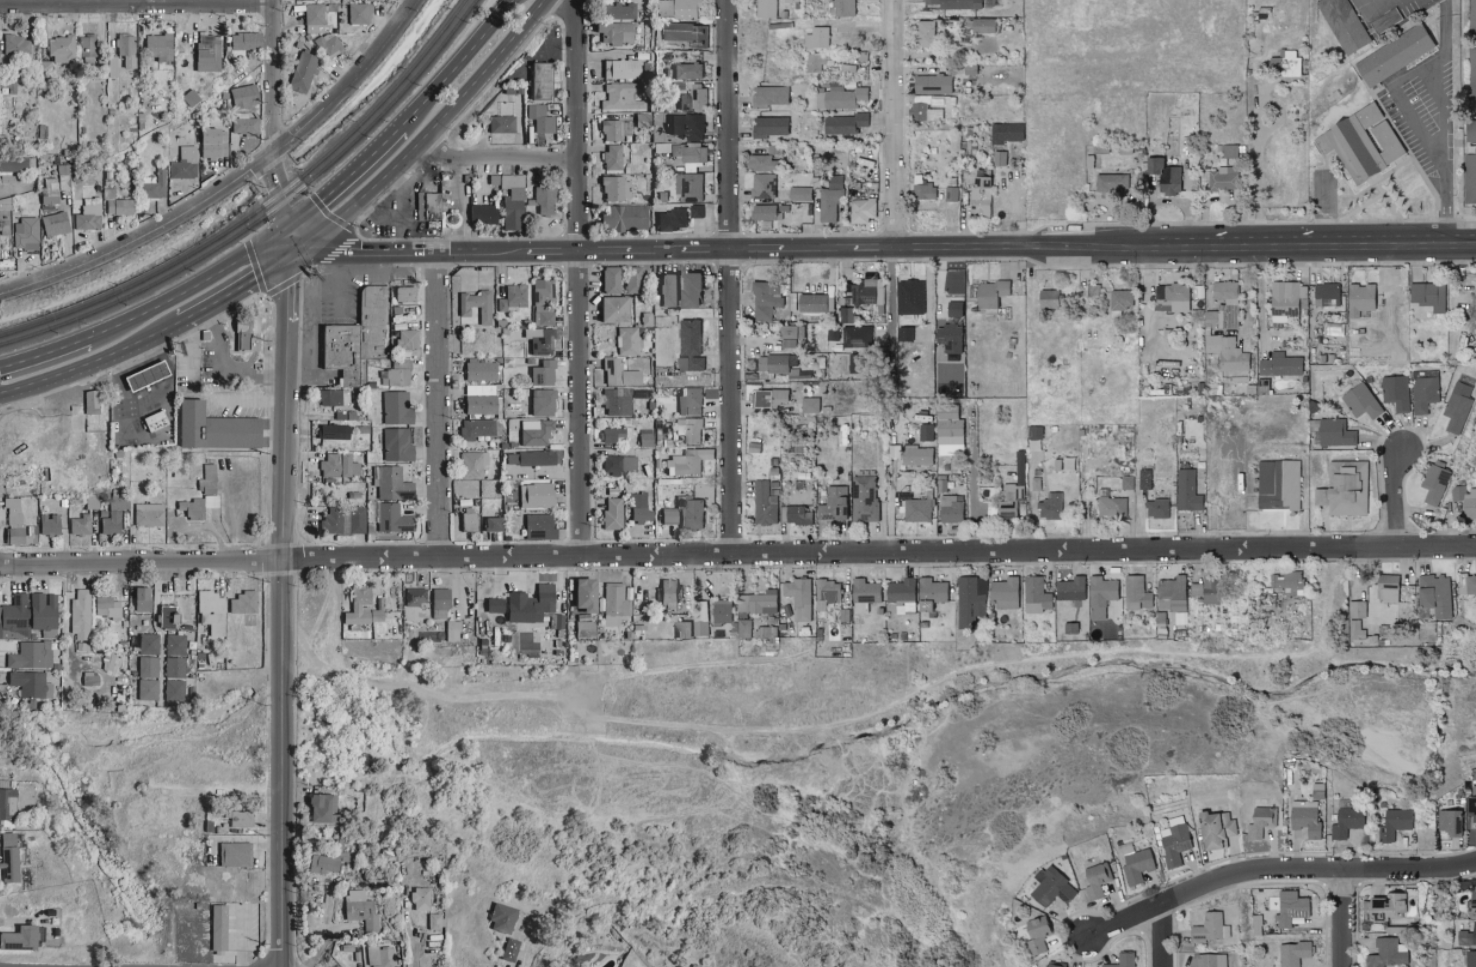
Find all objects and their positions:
building: (955, 4)
road: (137, 7)
building: (766, 8)
building: (842, 8)
building: (680, 9)
building: (612, 10)
building: (358, 13)
building: (314, 18)
building: (1474, 18)
building: (982, 25)
building: (612, 32)
building: (684, 32)
road: (1446, 32)
building: (924, 33)
building: (817, 37)
building: (241, 41)
building: (328, 44)
building: (14, 45)
building: (156, 46)
building: (59, 48)
building: (84, 48)
building: (204, 52)
building: (119, 54)
building: (1393, 55)
road: (544, 58)
building: (818, 62)
building: (1285, 64)
road: (458, 65)
building: (619, 68)
building: (686, 70)
building: (302, 72)
building: (1474, 74)
road: (273, 77)
road: (1438, 80)
road: (349, 81)
building: (931, 84)
building: (544, 85)
building: (770, 95)
building: (188, 97)
building: (619, 97)
building: (840, 97)
building: (692, 99)
building: (539, 118)
road: (893, 122)
building: (844, 123)
building: (243, 124)
building: (500, 124)
building: (691, 126)
building: (769, 126)
road: (429, 128)
building: (613, 129)
building: (1470, 131)
building: (1006, 132)
building: (210, 142)
building: (1360, 142)
building: (1229, 151)
building: (687, 155)
building: (610, 156)
road: (496, 160)
building: (759, 162)
building: (182, 163)
building: (1472, 167)
building: (1164, 175)
road: (348, 177)
building: (1223, 178)
building: (1109, 183)
building: (689, 186)
building: (763, 186)
building: (148, 187)
road: (278, 188)
building: (613, 188)
road: (10, 190)
building: (923, 191)
building: (800, 193)
building: (979, 196)
building: (511, 200)
building: (541, 200)
building: (829, 200)
road: (461, 204)
building: (424, 205)
building: (116, 206)
road: (408, 206)
railway: (260, 207)
road: (389, 209)
building: (435, 209)
building: (862, 210)
building: (695, 212)
building: (763, 212)
railway: (267, 213)
building: (481, 213)
building: (3, 215)
building: (87, 217)
building: (622, 217)
building: (669, 218)
traffic signals: (292, 222)
building: (54, 223)
building: (27, 232)
road: (297, 233)
road: (142, 236)
traffic signals: (303, 244)
road: (816, 245)
road: (874, 245)
road: (1389, 245)
road: (754, 246)
road: (1057, 246)
road: (654, 247)
road: (711, 247)
road: (1261, 247)
road: (558, 248)
road: (598, 248)
road: (420, 249)
road: (368, 272)
road: (732, 277)
road: (579, 278)
building: (609, 279)
road: (242, 284)
road: (194, 287)
building: (688, 289)
building: (665, 290)
building: (1225, 290)
road: (335, 292)
building: (868, 292)
building: (402, 293)
building: (989, 293)
road: (928, 294)
road: (1245, 294)
building: (1327, 294)
building: (514, 295)
road: (894, 295)
building: (1428, 295)
building: (409, 297)
building: (909, 297)
building: (1172, 297)
building: (1288, 298)
building: (1047, 299)
building: (1121, 299)
building: (765, 300)
building: (1360, 300)
building: (541, 301)
building: (811, 303)
road: (339, 304)
building: (475, 305)
building: (500, 305)
building: (612, 309)
building: (953, 309)
building: (847, 315)
building: (1211, 318)
building: (791, 332)
building: (904, 334)
building: (248, 337)
building: (857, 337)
building: (362, 340)
building: (538, 340)
building: (624, 340)
building: (949, 340)
building: (410, 343)
building: (788, 344)
building: (689, 346)
road: (44, 354)
road: (192, 354)
building: (1227, 354)
road: (92, 363)
building: (773, 364)
building: (1280, 365)
building: (479, 369)
building: (540, 373)
building: (618, 373)
building: (144, 374)
road: (219, 374)
building: (1396, 392)
building: (1424, 394)
building: (331, 397)
building: (770, 398)
building: (480, 399)
building: (689, 401)
building: (1361, 401)
road: (247, 402)
building: (539, 402)
building: (615, 402)
road: (439, 404)
building: (810, 405)
building: (395, 407)
building: (1457, 407)
road: (144, 408)
building: (88, 415)
building: (156, 424)
building: (210, 428)
building: (474, 428)
building: (332, 429)
building: (689, 429)
building: (948, 429)
building: (533, 432)
building: (1335, 432)
building: (610, 434)
building: (395, 444)
building: (916, 455)
building: (528, 458)
building: (688, 461)
building: (472, 464)
building: (617, 464)
building: (336, 465)
building: (1019, 469)
building: (10, 477)
building: (206, 478)
building: (1144, 479)
building: (1126, 482)
building: (1434, 482)
building: (389, 483)
road: (973, 484)
building: (1278, 485)
building: (773, 488)
building: (1344, 489)
building: (1187, 491)
building: (535, 495)
building: (863, 498)
road: (1396, 499)
building: (1006, 500)
building: (1465, 500)
building: (764, 504)
building: (833, 505)
building: (194, 506)
building: (1050, 506)
building: (638, 507)
building: (1111, 507)
building: (1156, 508)
building: (949, 509)
building: (918, 510)
building: (610, 513)
building: (684, 513)
building: (146, 514)
building: (796, 515)
building: (390, 518)
building: (342, 519)
building: (109, 522)
building: (13, 523)
building: (47, 523)
building: (488, 523)
building: (78, 524)
building: (537, 527)
road: (738, 555)
building: (1286, 582)
building: (1470, 585)
building: (1386, 588)
building: (1070, 589)
building: (1206, 589)
building: (827, 593)
building: (1004, 593)
building: (667, 594)
building: (864, 594)
building: (1136, 594)
building: (1172, 594)
building: (579, 595)
building: (901, 595)
building: (1036, 595)
building: (1435, 595)
building: (413, 596)
building: (1100, 596)
building: (798, 598)
building: (139, 599)
building: (970, 601)
building: (241, 602)
road: (285, 603)
building: (437, 603)
building: (612, 603)
building: (757, 603)
building: (527, 604)
building: (491, 605)
building: (105, 607)
building: (359, 607)
building: (1356, 610)
building: (41, 611)
building: (209, 611)
building: (721, 611)
building: (79, 614)
building: (13, 617)
building: (166, 617)
building: (700, 618)
building: (744, 628)
building: (582, 629)
building: (682, 630)
building: (1355, 630)
building: (451, 631)
building: (146, 643)
building: (173, 644)
building: (29, 655)
building: (146, 666)
building: (173, 667)
building: (29, 684)
building: (144, 690)
building: (172, 691)
building: (6, 804)
building: (1472, 806)
building: (319, 807)
building: (1305, 817)
building: (235, 818)
building: (1260, 822)
building: (1346, 822)
building: (1449, 823)
building: (1394, 824)
building: (1215, 830)
building: (6, 839)
building: (1175, 841)
building: (232, 854)
building: (1135, 863)
building: (320, 864)
building: (8, 865)
road: (1277, 873)
building: (1097, 880)
building: (1053, 888)
building: (418, 898)
building: (1472, 899)
building: (1386, 906)
building: (1290, 908)
building: (359, 910)
building: (499, 918)
road: (1344, 920)
building: (433, 921)
building: (216, 927)
building: (1211, 928)
building: (1037, 935)
building: (1468, 936)
building: (17, 938)
road: (1160, 939)
building: (507, 950)
road: (414, 953)
building: (1293, 954)
building: (1386, 954)
building: (378, 956)
road: (522, 956)
building: (1471, 959)
building: (1123, 960)
building: (1211, 960)
building: (1057, 966)

